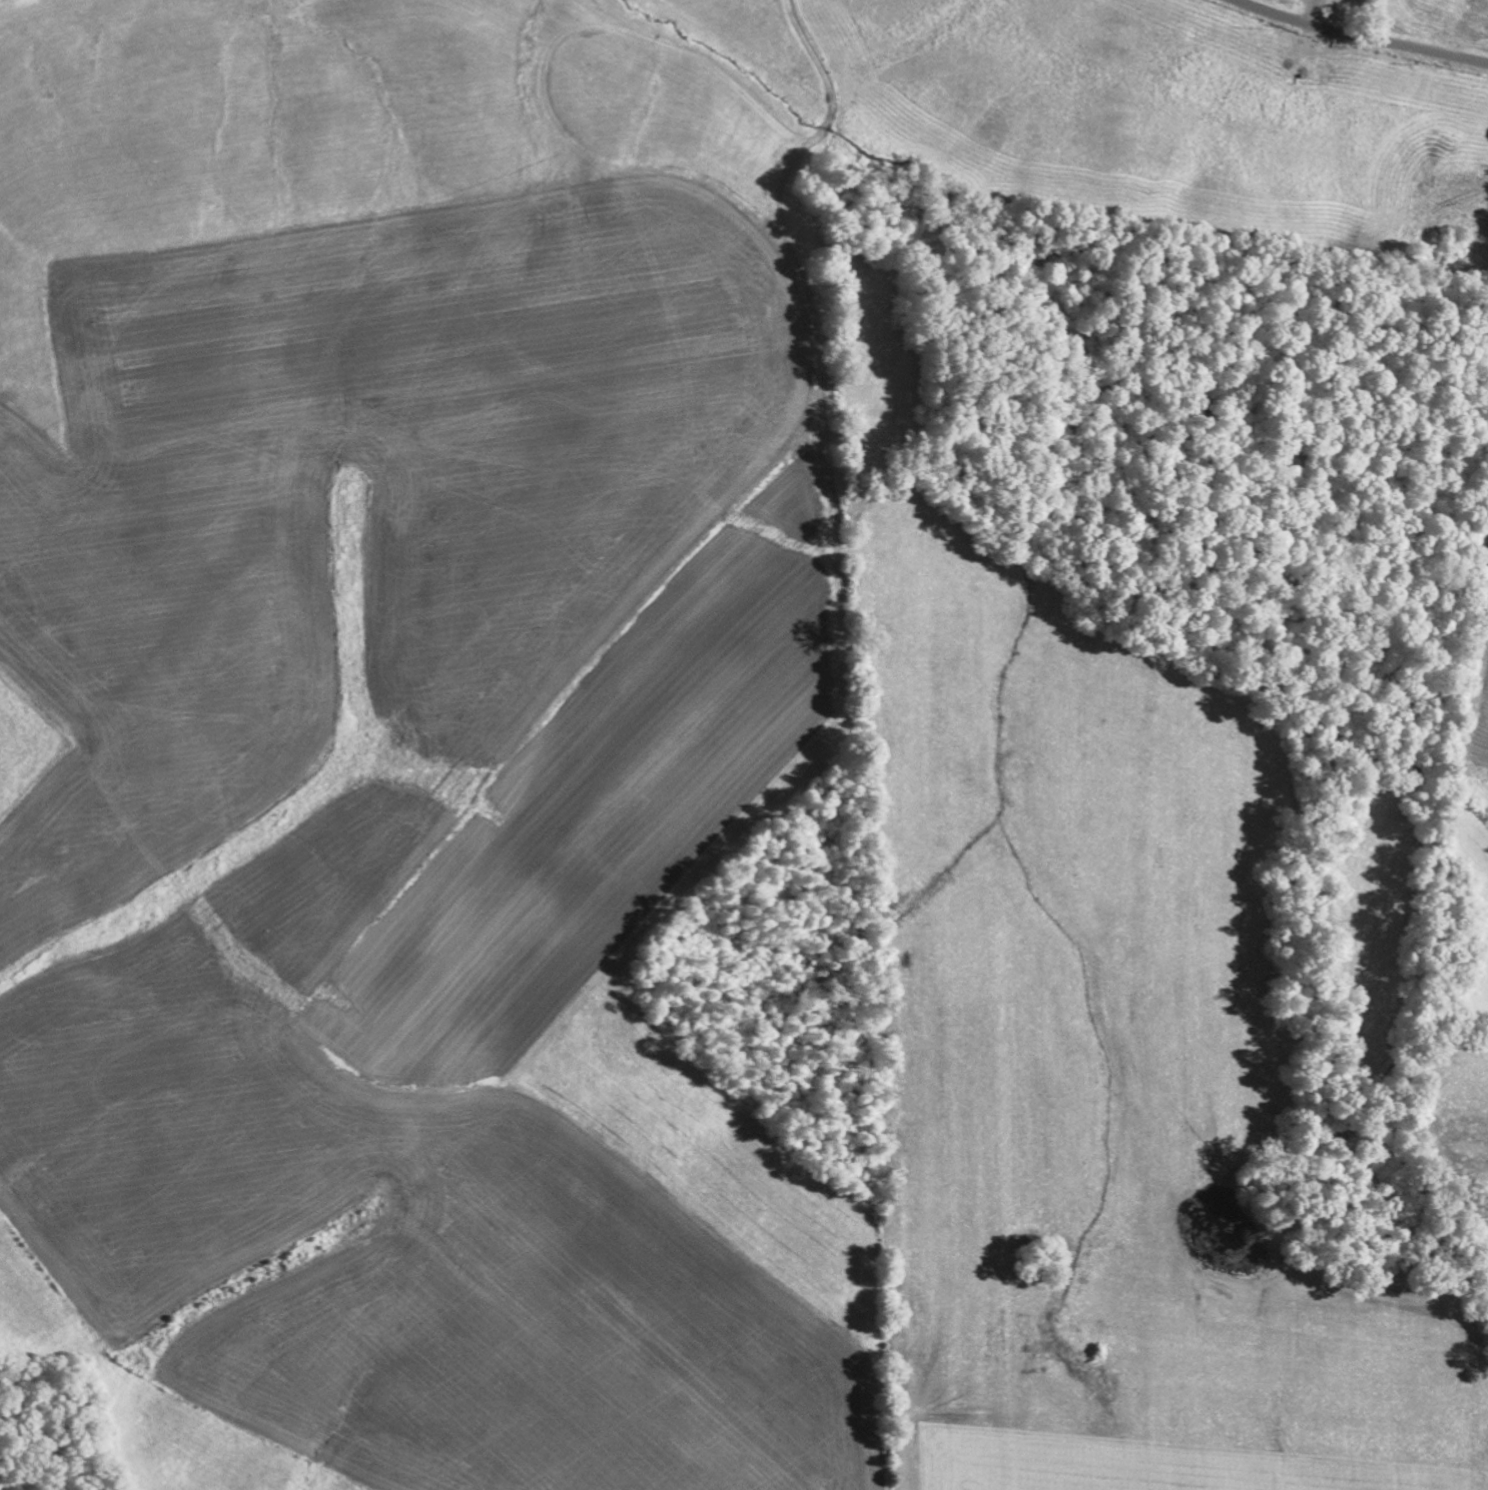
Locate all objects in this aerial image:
road: (1360, 37)

